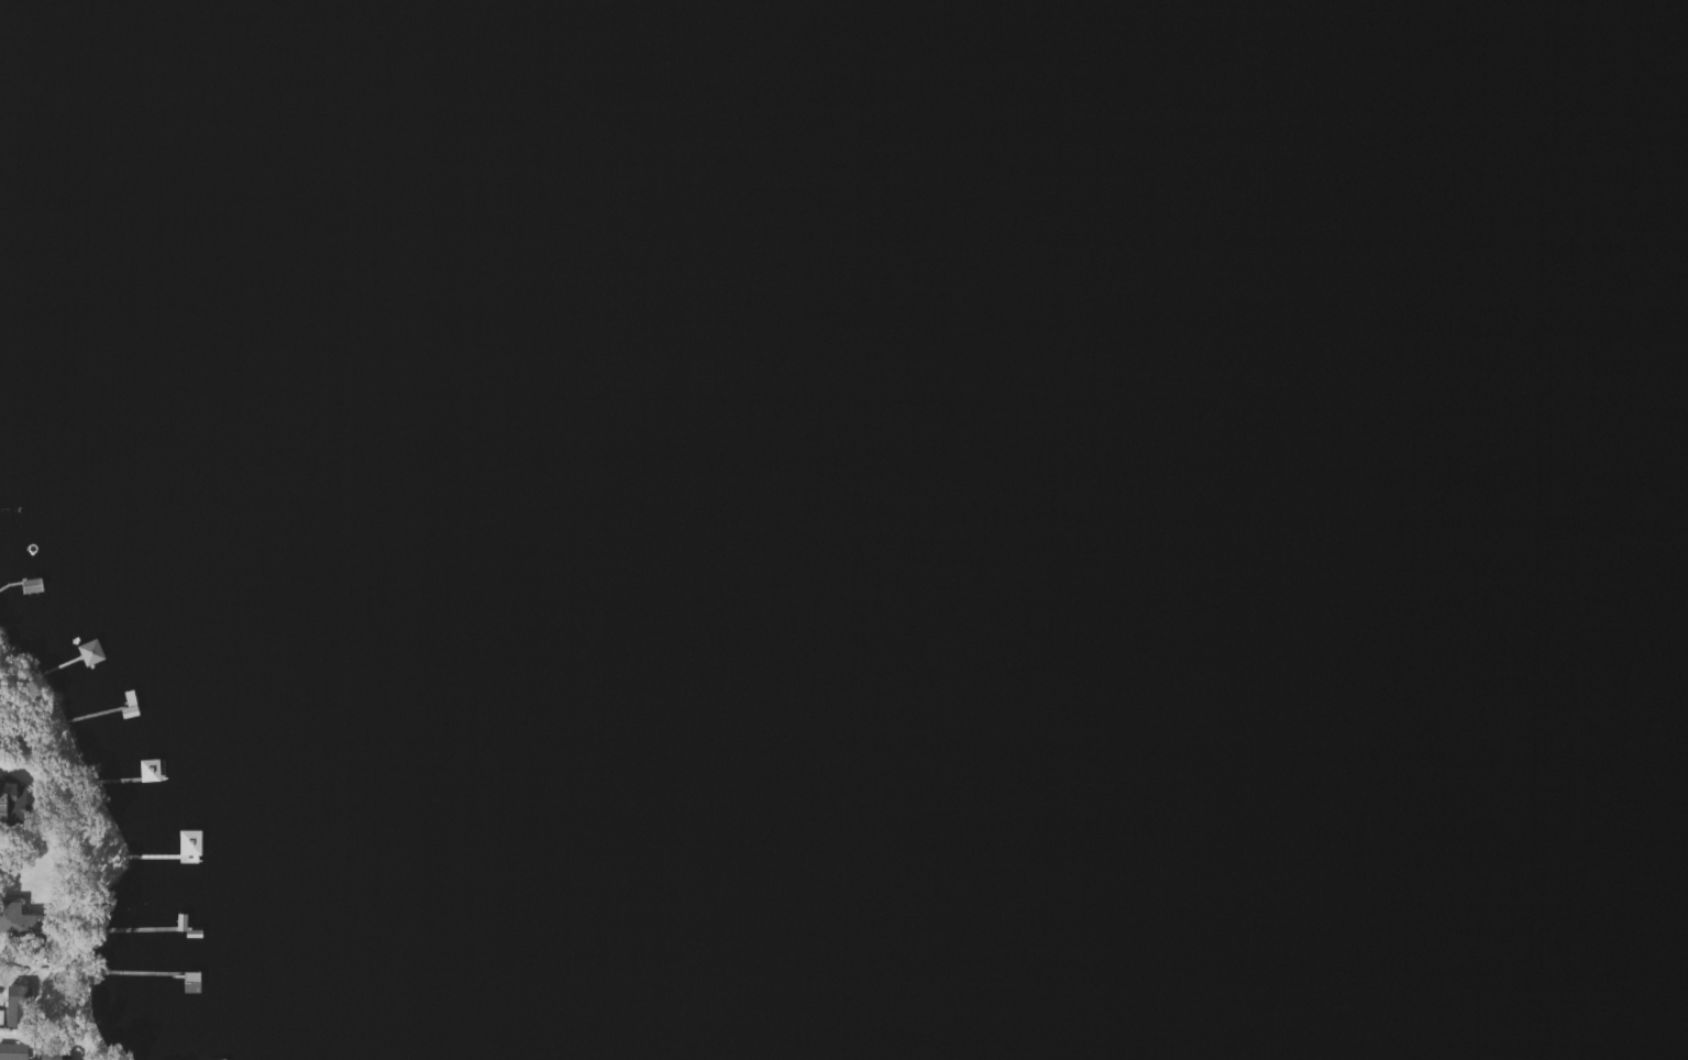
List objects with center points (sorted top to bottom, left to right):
river: (1353, 548)
building: (147, 771)
building: (11, 802)
building: (187, 843)
building: (19, 925)
building: (13, 1007)
building: (12, 1052)
building: (44, 1056)

